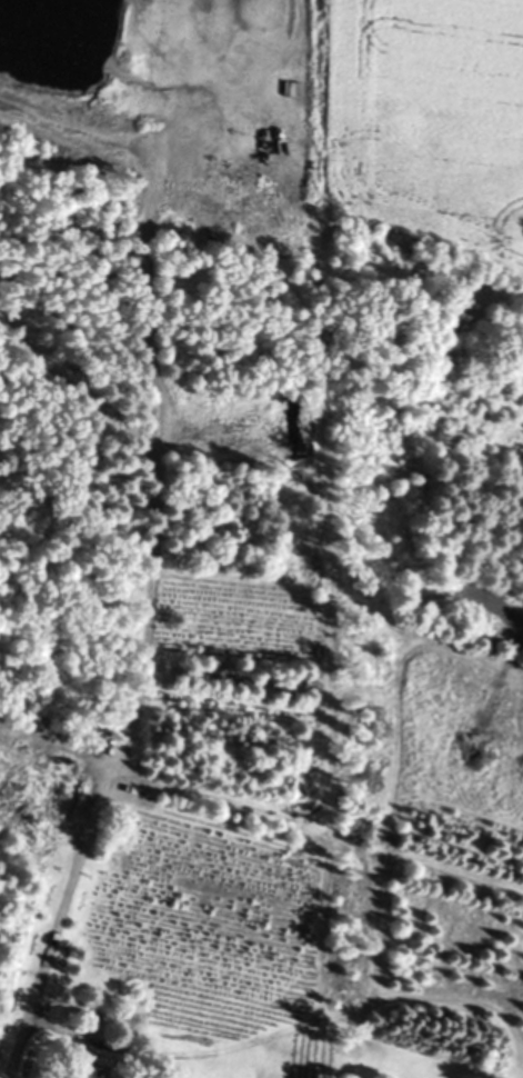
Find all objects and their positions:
road: (61, 882)
building: (98, 1068)

